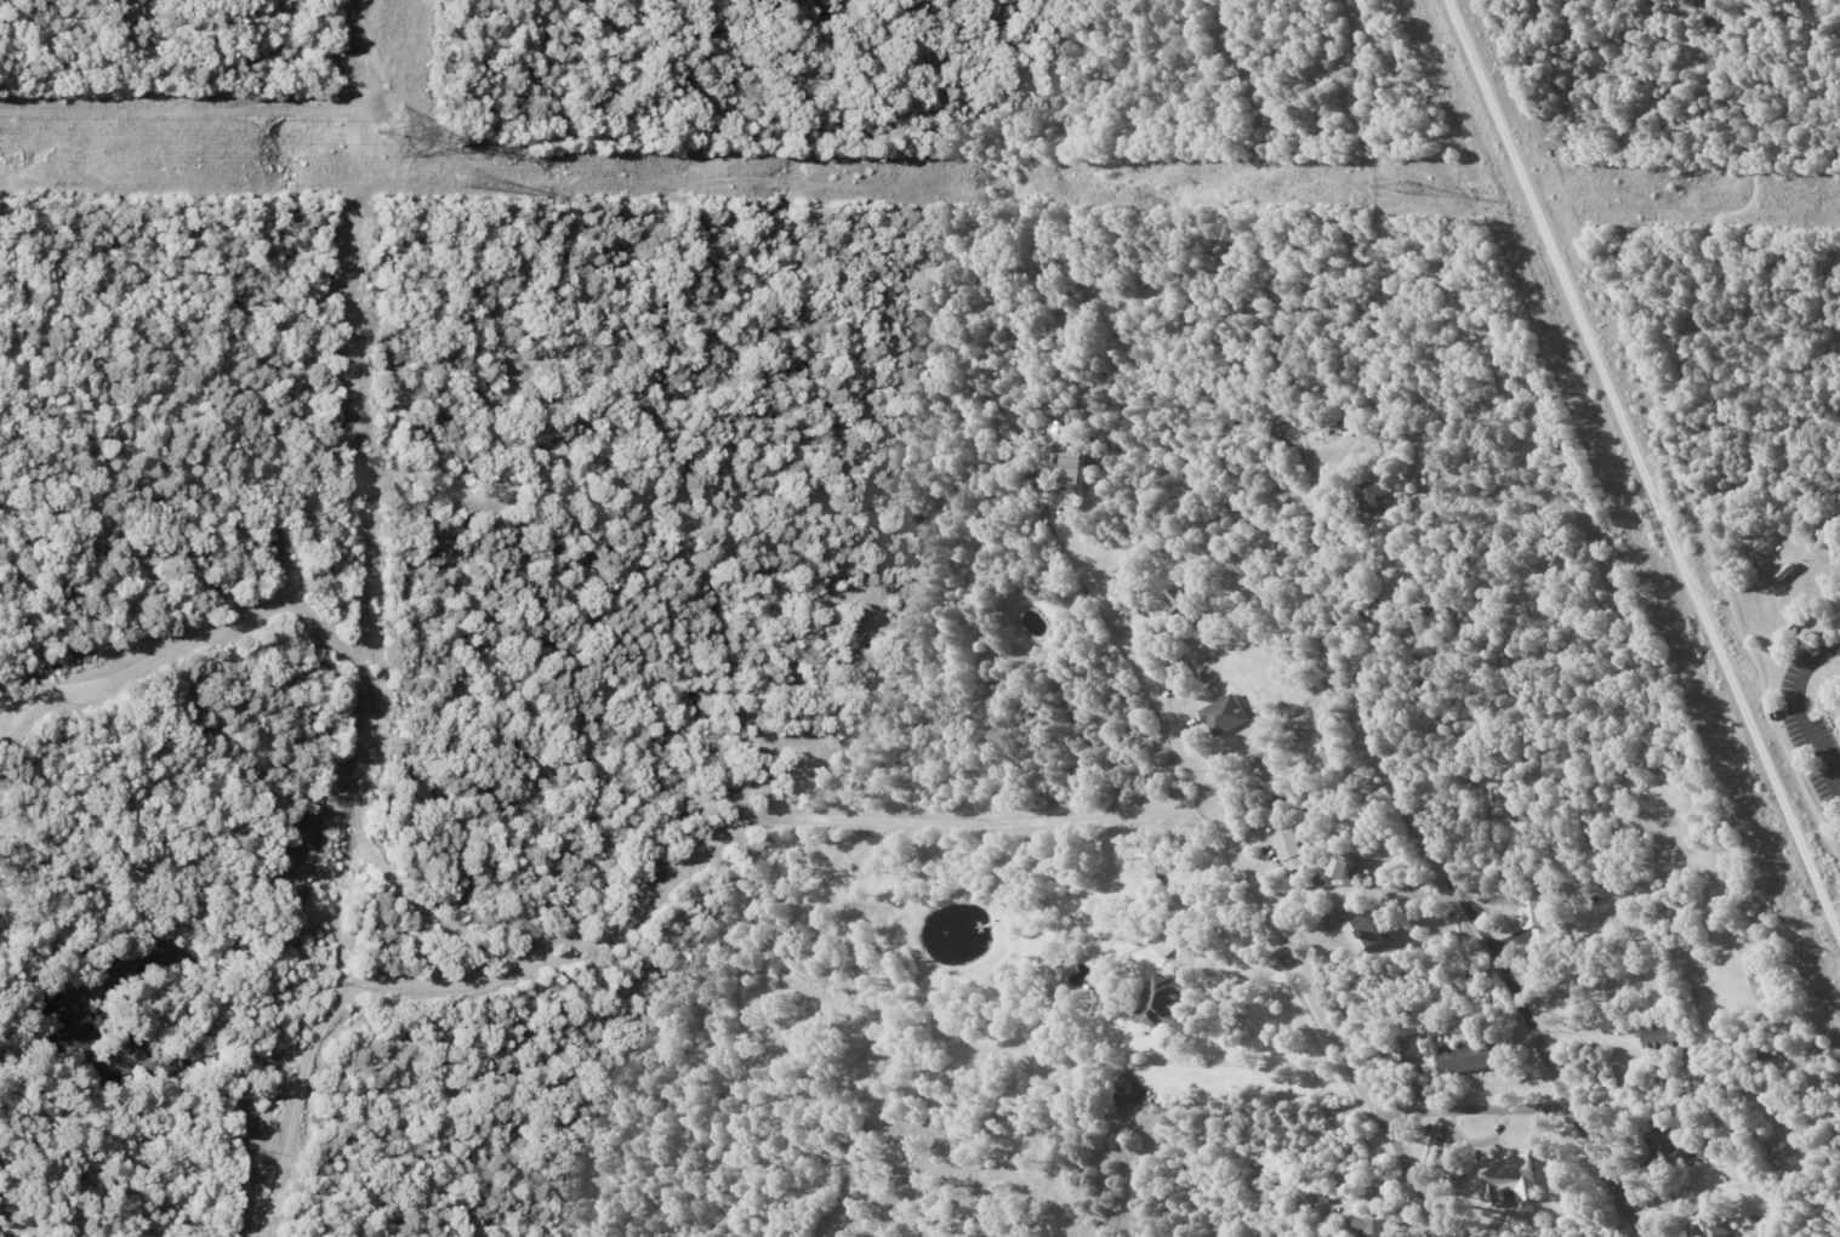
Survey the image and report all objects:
road: (1800, 101)
power tower: (395, 135)
power tower: (465, 179)
power tower: (1403, 189)
road: (1710, 244)
road: (1790, 416)
road: (1644, 467)
building: (1075, 478)
building: (1374, 495)
road: (1084, 570)
building: (1180, 600)
road: (1839, 644)
road: (1801, 713)
building: (1224, 714)
building: (1292, 850)
building: (1341, 867)
road: (660, 906)
road: (1471, 911)
building: (1539, 917)
building: (1366, 934)
road: (1293, 953)
road: (1240, 973)
building: (1162, 1001)
building: (1659, 1036)
building: (1464, 1056)
road: (1540, 1093)
building: (1506, 1178)
building: (1707, 1224)
building: (1373, 1226)

